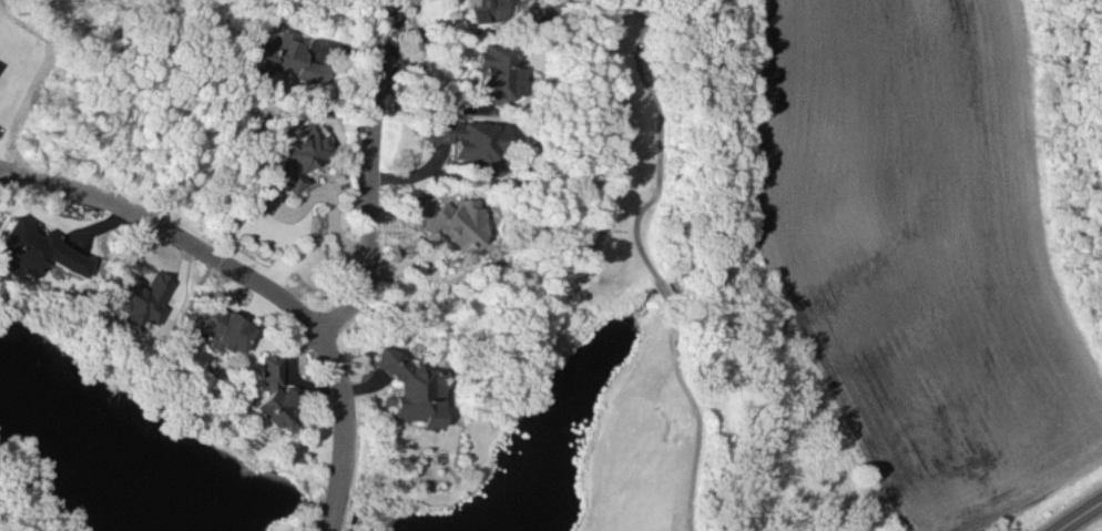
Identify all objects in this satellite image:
building: (493, 9)
building: (286, 57)
building: (498, 72)
building: (468, 141)
road: (655, 141)
building: (299, 155)
road: (374, 174)
road: (331, 194)
road: (167, 228)
building: (35, 249)
road: (661, 288)
building: (134, 297)
building: (223, 329)
building: (272, 395)
building: (414, 395)
road: (694, 412)
road: (341, 428)
road: (1080, 517)

